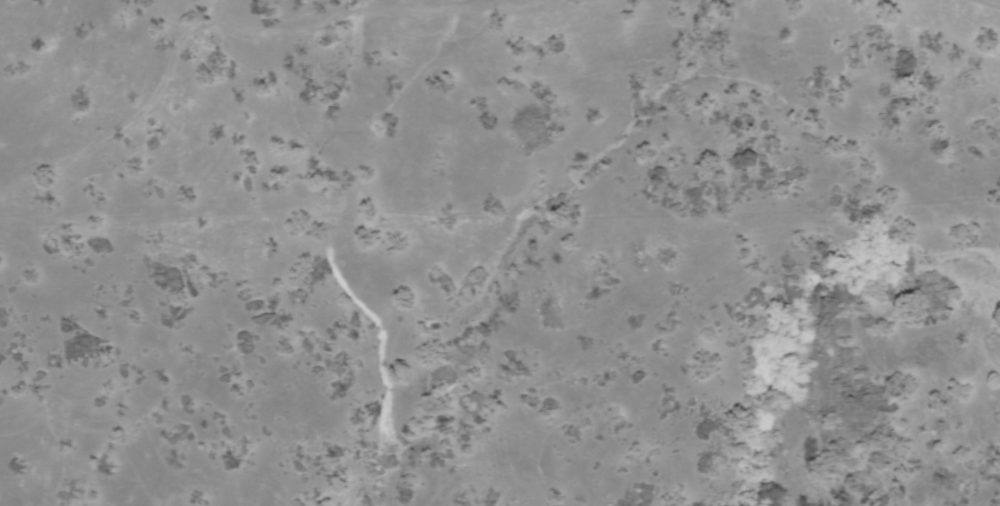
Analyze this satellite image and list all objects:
road: (994, 1)
road: (238, 33)

